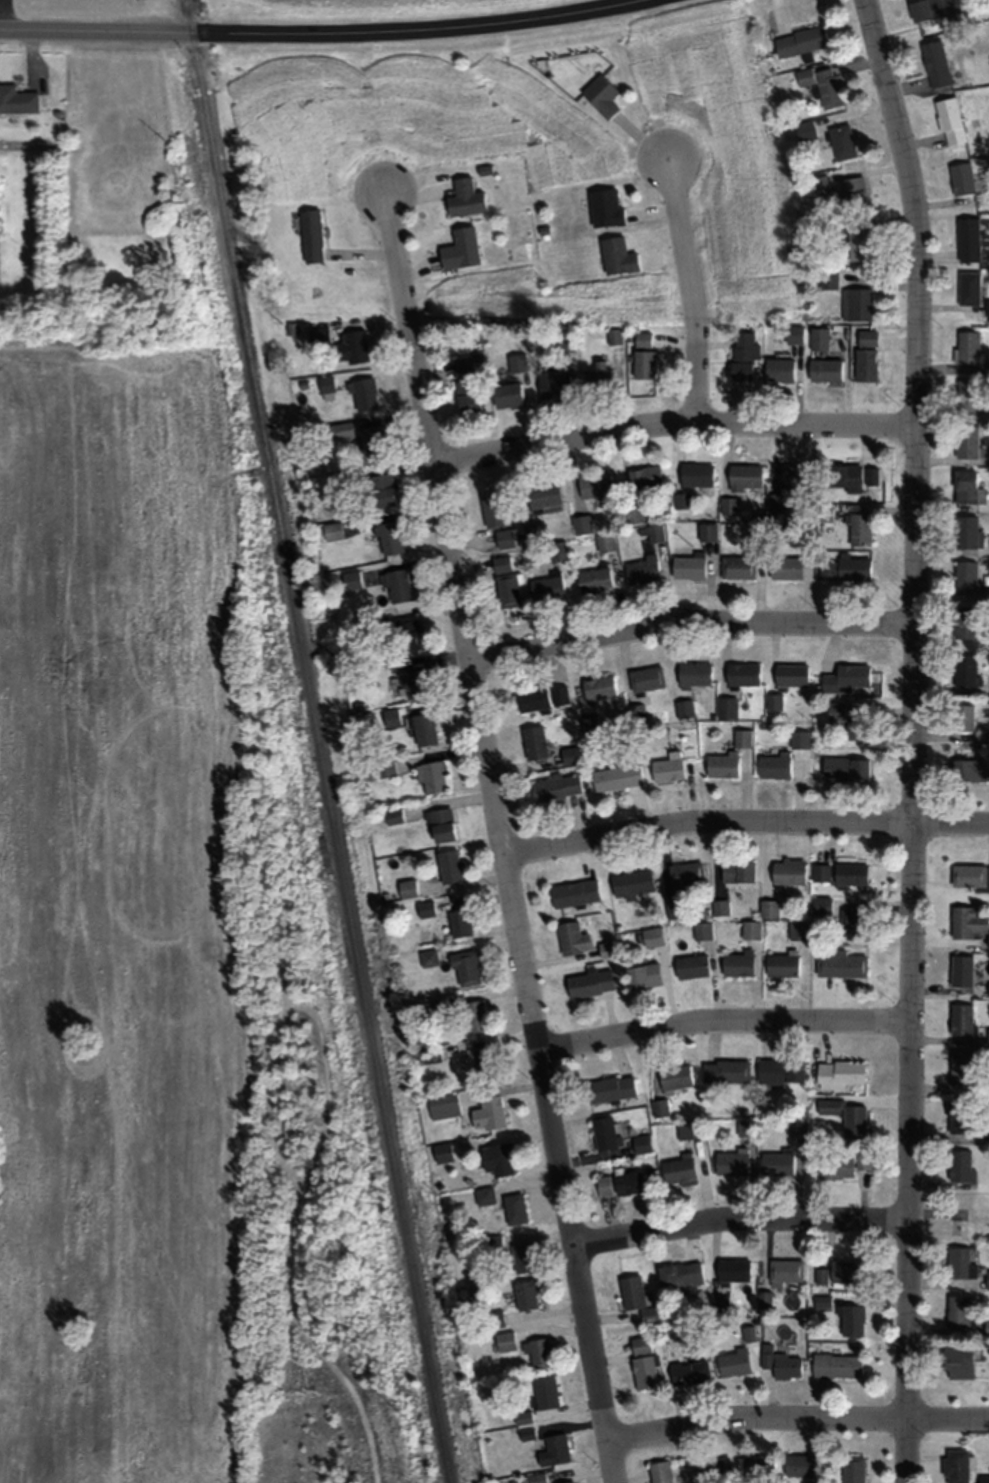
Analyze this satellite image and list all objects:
building: (933, 9)
road: (3, 13)
railway: (189, 14)
road: (317, 31)
building: (800, 40)
building: (935, 63)
building: (823, 84)
building: (600, 95)
building: (17, 99)
building: (949, 120)
building: (805, 129)
building: (842, 141)
power tower: (172, 149)
building: (961, 178)
building: (854, 195)
building: (464, 198)
building: (604, 206)
building: (311, 235)
building: (967, 238)
building: (858, 244)
building: (460, 248)
building: (617, 255)
road: (688, 287)
building: (968, 288)
building: (857, 303)
building: (986, 307)
road: (3, 313)
building: (794, 333)
building: (319, 336)
building: (866, 336)
building: (818, 337)
building: (355, 345)
building: (967, 346)
building: (742, 354)
building: (642, 355)
building: (516, 362)
building: (864, 363)
building: (463, 365)
building: (779, 368)
building: (824, 368)
building: (597, 377)
building: (553, 383)
building: (364, 394)
building: (506, 394)
building: (967, 394)
building: (467, 395)
road: (671, 420)
building: (339, 430)
building: (372, 441)
building: (967, 441)
building: (697, 475)
building: (870, 475)
building: (744, 476)
building: (793, 476)
building: (644, 477)
building: (844, 477)
building: (594, 484)
building: (964, 486)
building: (381, 489)
building: (543, 499)
building: (682, 500)
building: (728, 505)
building: (493, 509)
building: (824, 511)
building: (633, 514)
building: (580, 523)
building: (859, 529)
building: (332, 530)
building: (706, 530)
building: (754, 530)
building: (654, 532)
building: (967, 532)
building: (534, 533)
building: (389, 537)
building: (505, 538)
building: (605, 542)
building: (557, 550)
building: (688, 566)
building: (737, 566)
building: (785, 567)
building: (844, 567)
building: (641, 569)
building: (966, 576)
building: (351, 579)
building: (594, 579)
building: (505, 580)
building: (397, 584)
building: (546, 586)
building: (963, 621)
road: (688, 626)
building: (407, 632)
building: (964, 671)
building: (694, 673)
building: (743, 673)
building: (791, 674)
building: (646, 677)
building: (847, 677)
building: (415, 682)
building: (599, 687)
building: (542, 697)
building: (774, 701)
building: (684, 707)
building: (726, 707)
building: (835, 710)
building: (962, 716)
building: (589, 724)
building: (858, 726)
building: (421, 727)
building: (983, 736)
building: (742, 737)
building: (799, 738)
road: (910, 738)
building: (534, 741)
building: (572, 754)
railway: (320, 756)
building: (670, 765)
building: (722, 765)
building: (773, 766)
building: (848, 767)
building: (385, 768)
building: (967, 769)
building: (431, 776)
building: (616, 776)
building: (554, 786)
building: (393, 816)
road: (742, 820)
building: (441, 824)
road: (496, 837)
building: (448, 865)
building: (737, 871)
building: (788, 871)
building: (820, 872)
building: (850, 873)
building: (686, 875)
building: (969, 876)
building: (631, 882)
building: (574, 893)
building: (821, 904)
building: (769, 908)
building: (458, 922)
building: (966, 922)
building: (855, 923)
building: (750, 929)
building: (702, 930)
building: (798, 930)
building: (652, 936)
building: (572, 938)
building: (606, 949)
building: (738, 963)
building: (840, 963)
building: (781, 964)
building: (691, 966)
building: (465, 968)
building: (961, 970)
building: (644, 975)
building: (590, 983)
building: (988, 986)
building: (474, 1016)
road: (722, 1017)
building: (961, 1018)
building: (987, 1036)
building: (424, 1055)
building: (484, 1064)
building: (960, 1067)
building: (780, 1070)
building: (726, 1071)
building: (840, 1072)
building: (675, 1076)
building: (610, 1087)
building: (443, 1105)
building: (488, 1112)
building: (960, 1115)
building: (845, 1116)
building: (797, 1126)
building: (746, 1127)
building: (689, 1131)
building: (605, 1133)
building: (640, 1143)
building: (442, 1152)
building: (498, 1158)
building: (862, 1159)
building: (731, 1162)
building: (776, 1162)
building: (959, 1165)
building: (835, 1167)
building: (679, 1170)
building: (628, 1182)
building: (603, 1185)
building: (484, 1195)
building: (514, 1208)
road: (739, 1216)
building: (494, 1243)
building: (522, 1257)
building: (961, 1261)
building: (734, 1269)
building: (785, 1270)
building: (846, 1271)
building: (680, 1274)
building: (526, 1294)
building: (637, 1299)
building: (957, 1311)
building: (495, 1318)
building: (852, 1320)
building: (986, 1325)
building: (505, 1340)
building: (641, 1345)
building: (540, 1352)
building: (957, 1361)
building: (733, 1362)
building: (781, 1363)
building: (836, 1365)
building: (644, 1372)
building: (689, 1372)
building: (545, 1391)
road: (797, 1414)
building: (554, 1450)
building: (799, 1464)
building: (759, 1465)
building: (956, 1465)
building: (717, 1467)
building: (853, 1468)
building: (660, 1471)
building: (537, 1478)
building: (983, 1478)
building: (569, 1482)

